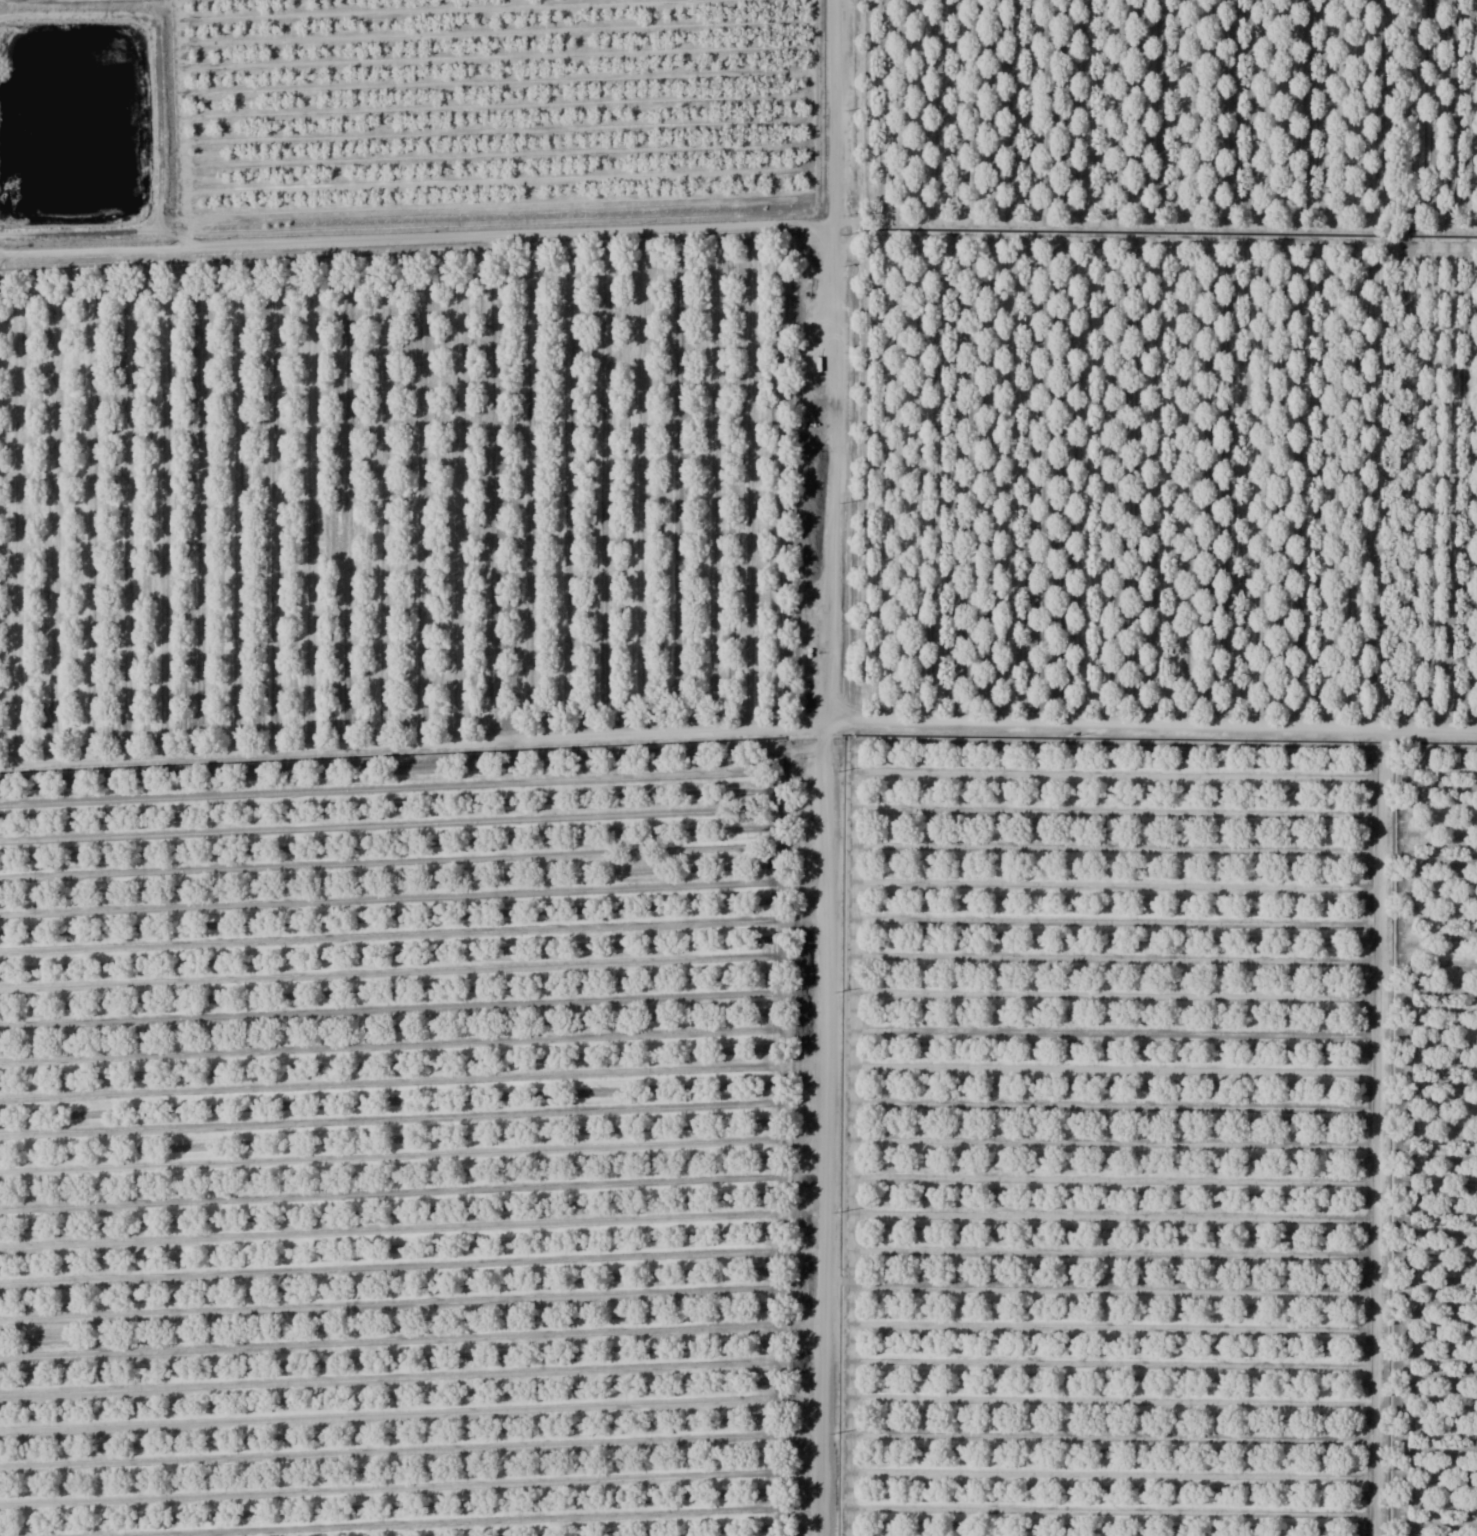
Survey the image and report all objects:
road: (738, 728)
road: (815, 1130)

